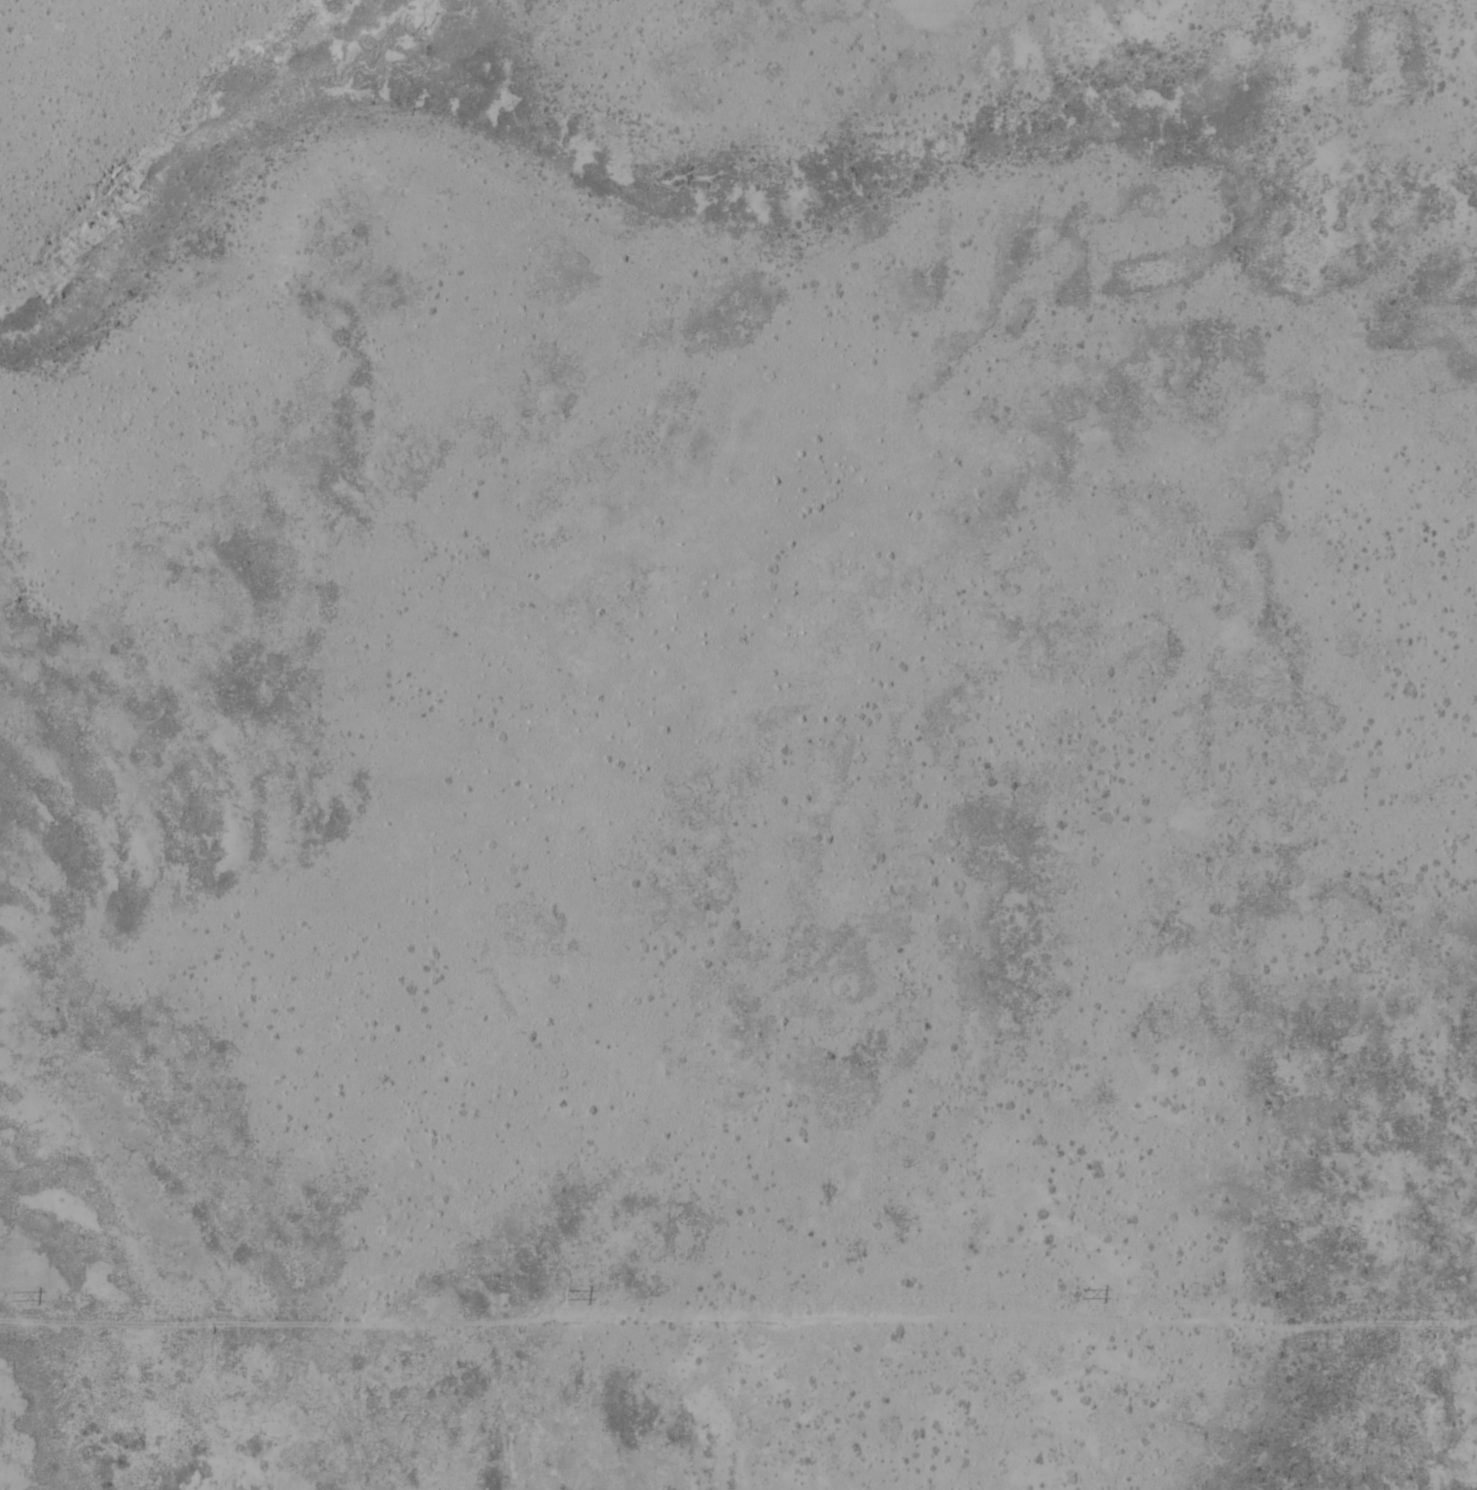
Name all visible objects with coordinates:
power tower: (1071, 1291)
power tower: (3, 1299)
power tower: (556, 1299)
road: (738, 1323)

